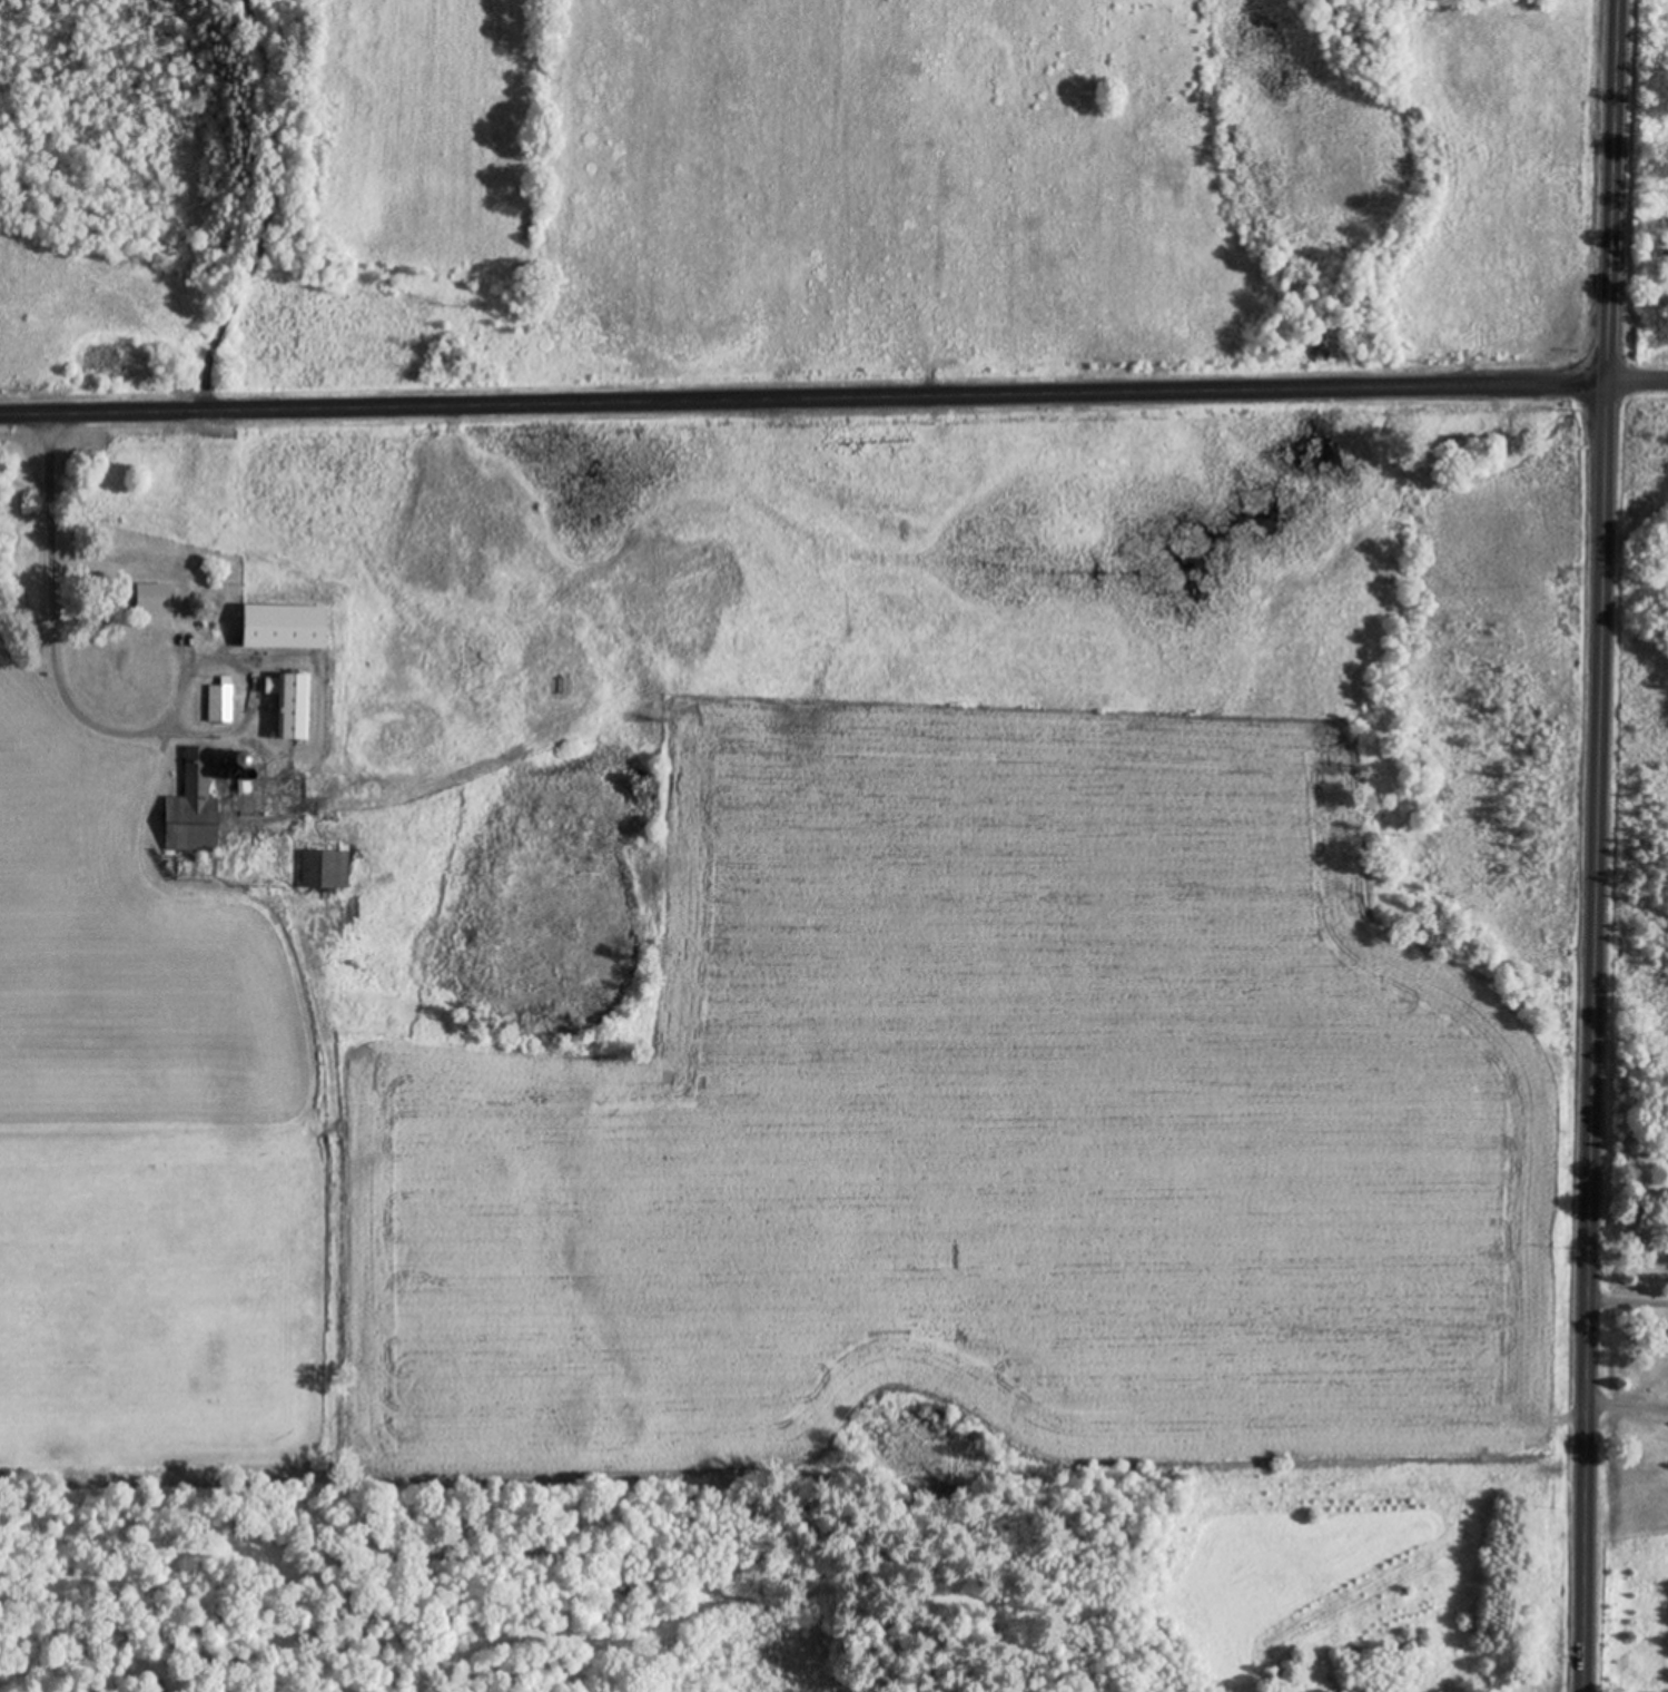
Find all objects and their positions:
road: (1636, 386)
road: (802, 402)
building: (151, 599)
building: (219, 702)
building: (289, 707)
building: (236, 763)
building: (191, 810)
road: (1597, 845)
building: (324, 872)

